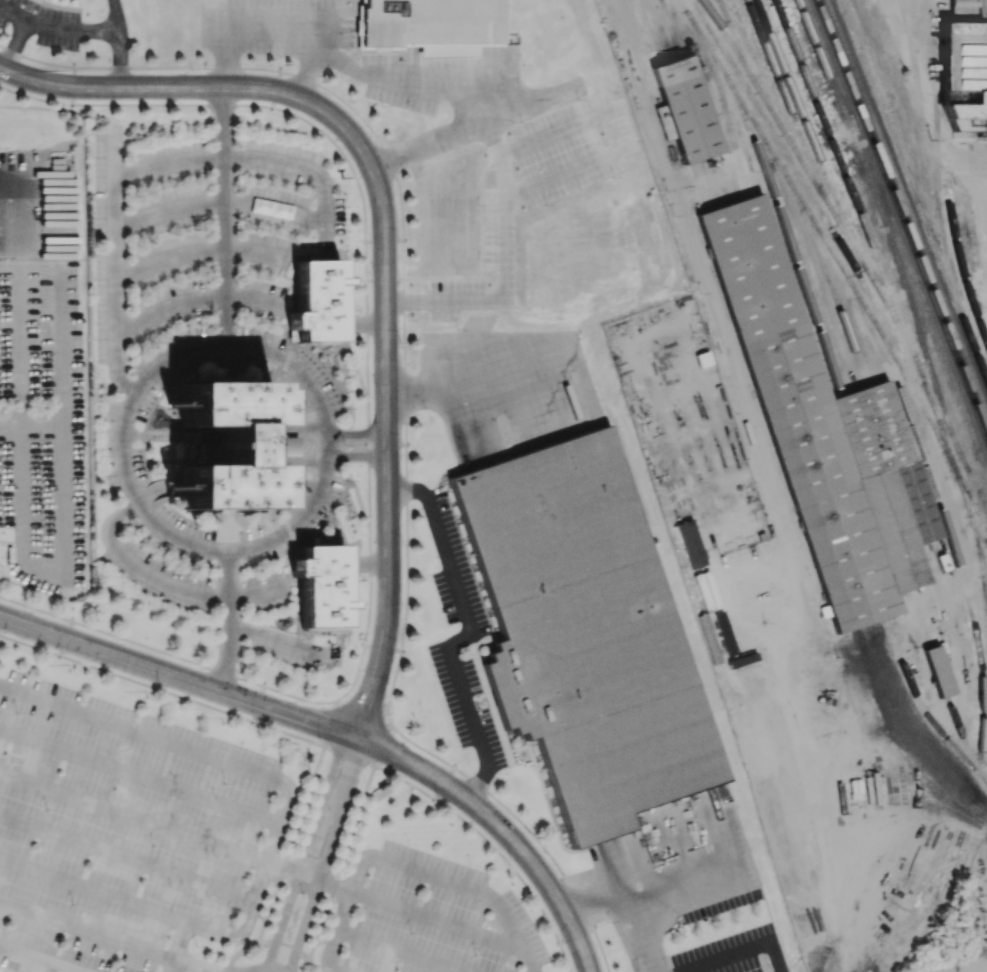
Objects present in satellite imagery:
railway: (723, 9)
building: (433, 26)
road: (90, 28)
railway: (668, 28)
railway: (657, 29)
railway: (650, 31)
railway: (732, 44)
railway: (756, 48)
road: (13, 54)
railway: (749, 68)
building: (965, 68)
road: (310, 71)
road: (374, 72)
road: (917, 79)
railway: (720, 94)
railway: (695, 107)
building: (687, 108)
railway: (685, 110)
railway: (791, 111)
railway: (676, 113)
building: (663, 122)
railway: (788, 137)
railway: (735, 141)
railway: (795, 145)
road: (230, 154)
railway: (908, 154)
road: (969, 158)
railway: (868, 166)
railway: (716, 167)
railway: (937, 170)
railway: (708, 183)
railway: (699, 184)
railway: (830, 184)
railway: (912, 190)
railway: (773, 194)
railway: (907, 202)
road: (221, 213)
railway: (902, 216)
railway: (835, 232)
railway: (901, 235)
railway: (797, 236)
road: (386, 249)
railway: (816, 249)
railway: (896, 254)
road: (506, 259)
railway: (833, 262)
railway: (960, 266)
building: (317, 300)
railway: (894, 303)
road: (223, 342)
railway: (888, 345)
road: (470, 375)
railway: (855, 381)
building: (822, 430)
road: (358, 434)
building: (229, 447)
road: (358, 456)
railway: (893, 463)
railway: (982, 497)
railway: (972, 498)
railway: (977, 508)
railway: (942, 510)
railway: (978, 538)
building: (691, 543)
railway: (953, 563)
railway: (931, 574)
road: (160, 581)
railway: (985, 583)
building: (321, 585)
building: (706, 590)
railway: (956, 599)
railway: (922, 619)
road: (226, 621)
building: (586, 629)
road: (468, 635)
building: (938, 670)
railway: (939, 671)
road: (178, 677)
building: (818, 678)
railway: (924, 711)
building: (893, 725)
railway: (964, 738)
road: (139, 772)
road: (444, 781)
road: (814, 802)
road: (148, 819)
railway: (955, 820)
road: (500, 827)
parking lot: (117, 831)
road: (274, 834)
railway: (959, 845)
railway: (969, 845)
road: (305, 851)
road: (126, 855)
road: (325, 855)
road: (407, 866)
road: (517, 872)
road: (307, 874)
road: (624, 900)
road: (419, 913)
road: (90, 930)
road: (176, 945)
road: (735, 950)
road: (397, 951)
road: (41, 958)
road: (213, 965)
road: (269, 965)
road: (189, 966)
power substation: (946, 967)

